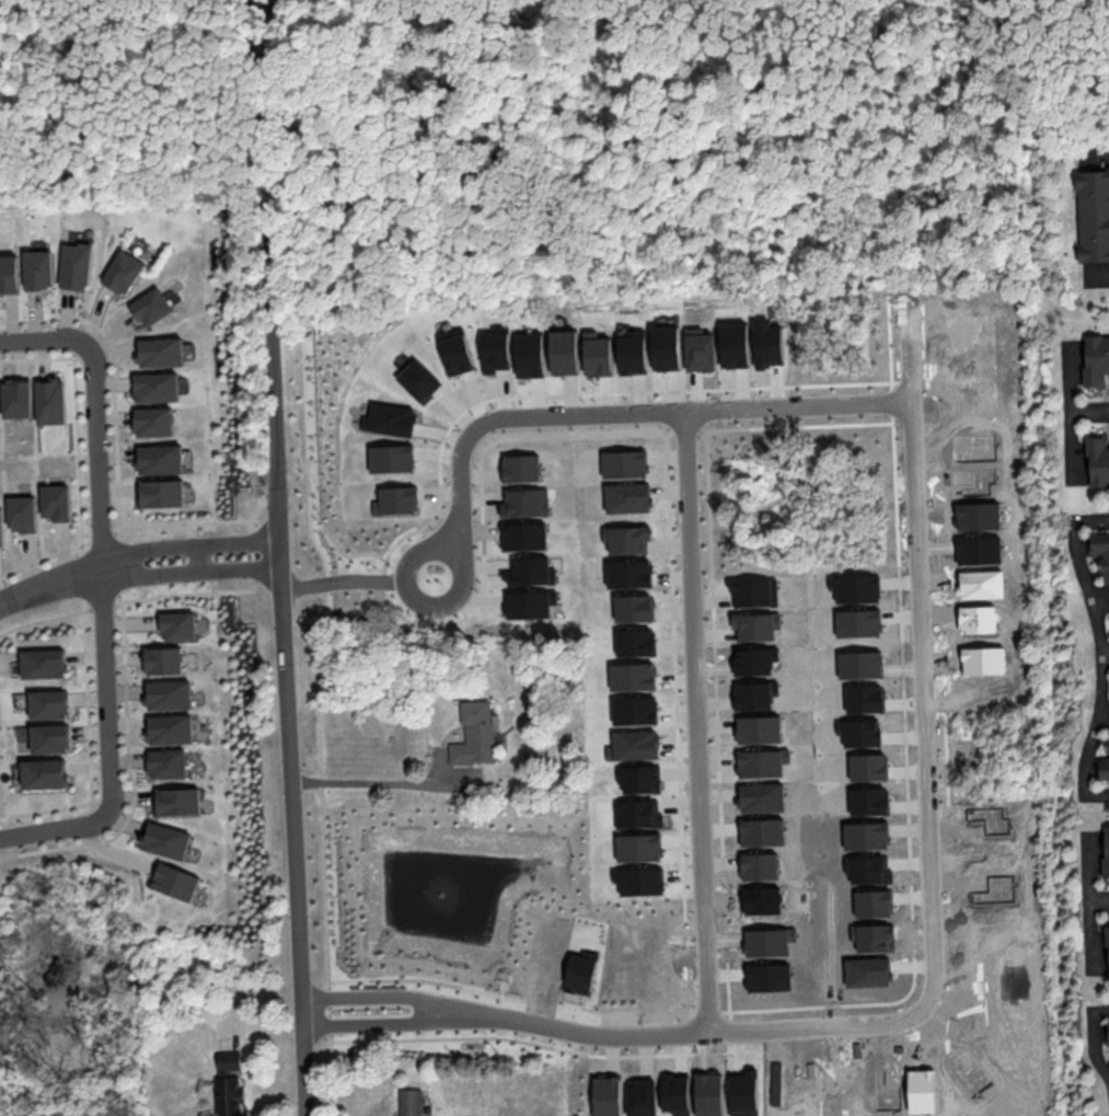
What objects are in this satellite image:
road: (262, 3)
parking lot: (253, 25)
road: (102, 39)
park: (114, 101)
road: (196, 124)
road: (1102, 149)
road: (162, 191)
building: (1093, 214)
building: (77, 266)
building: (38, 269)
building: (125, 272)
building: (9, 274)
building: (152, 307)
building: (733, 344)
building: (767, 344)
building: (666, 347)
building: (495, 348)
building: (700, 349)
building: (455, 350)
building: (161, 352)
building: (563, 352)
building: (632, 353)
building: (530, 354)
building: (597, 354)
building: (1096, 359)
road: (908, 361)
building: (419, 380)
building: (157, 387)
building: (18, 398)
building: (51, 401)
road: (96, 410)
road: (1097, 410)
road: (627, 412)
building: (392, 418)
building: (154, 422)
road: (777, 427)
road: (822, 449)
building: (392, 458)
building: (160, 459)
building: (1098, 460)
building: (624, 463)
building: (521, 468)
building: (973, 481)
building: (161, 493)
building: (627, 497)
park: (801, 497)
building: (397, 499)
building: (55, 502)
building: (524, 503)
road: (844, 506)
road: (763, 507)
building: (22, 513)
building: (978, 516)
road: (434, 522)
building: (1, 527)
building: (524, 536)
building: (626, 539)
road: (187, 545)
building: (979, 550)
building: (1100, 551)
road: (344, 553)
road: (199, 557)
road: (280, 557)
road: (189, 571)
building: (530, 572)
building: (628, 574)
road: (484, 579)
road: (342, 582)
road: (49, 583)
building: (981, 584)
building: (857, 588)
building: (755, 591)
road: (451, 599)
building: (527, 605)
building: (634, 608)
building: (978, 619)
building: (858, 622)
building: (178, 625)
building: (756, 625)
building: (636, 642)
road: (1106, 657)
road: (1108, 657)
building: (983, 659)
building: (164, 660)
building: (754, 660)
building: (44, 663)
building: (860, 664)
building: (633, 676)
building: (169, 694)
building: (755, 694)
building: (865, 699)
road: (923, 701)
building: (48, 704)
building: (635, 710)
road: (695, 720)
road: (716, 720)
road: (317, 721)
building: (760, 728)
building: (170, 729)
building: (860, 732)
building: (474, 734)
building: (1108, 736)
building: (50, 738)
building: (634, 745)
road: (905, 746)
road: (107, 747)
building: (763, 762)
building: (167, 763)
building: (868, 767)
building: (1104, 767)
building: (44, 773)
building: (640, 778)
road: (385, 781)
building: (762, 797)
building: (176, 801)
building: (869, 801)
building: (638, 813)
building: (763, 831)
building: (866, 835)
building: (165, 840)
building: (639, 847)
building: (1106, 850)
building: (760, 865)
building: (870, 870)
building: (639, 881)
building: (175, 882)
road: (1102, 899)
building: (762, 900)
building: (874, 902)
building: (874, 936)
building: (769, 941)
building: (1108, 955)
road: (509, 970)
building: (868, 971)
building: (580, 974)
building: (770, 977)
road: (427, 980)
road: (502, 989)
road: (380, 996)
road: (592, 1009)
parking lot: (617, 1016)
road: (617, 1022)
road: (380, 1024)
road: (694, 1031)
building: (1108, 1038)
road: (546, 1045)
road: (1097, 1046)
building: (968, 1072)
building: (229, 1082)
building: (776, 1083)
building: (887, 1089)
building: (922, 1090)
building: (675, 1093)
building: (709, 1093)
building: (744, 1093)
building: (607, 1095)
building: (642, 1096)
building: (411, 1102)

